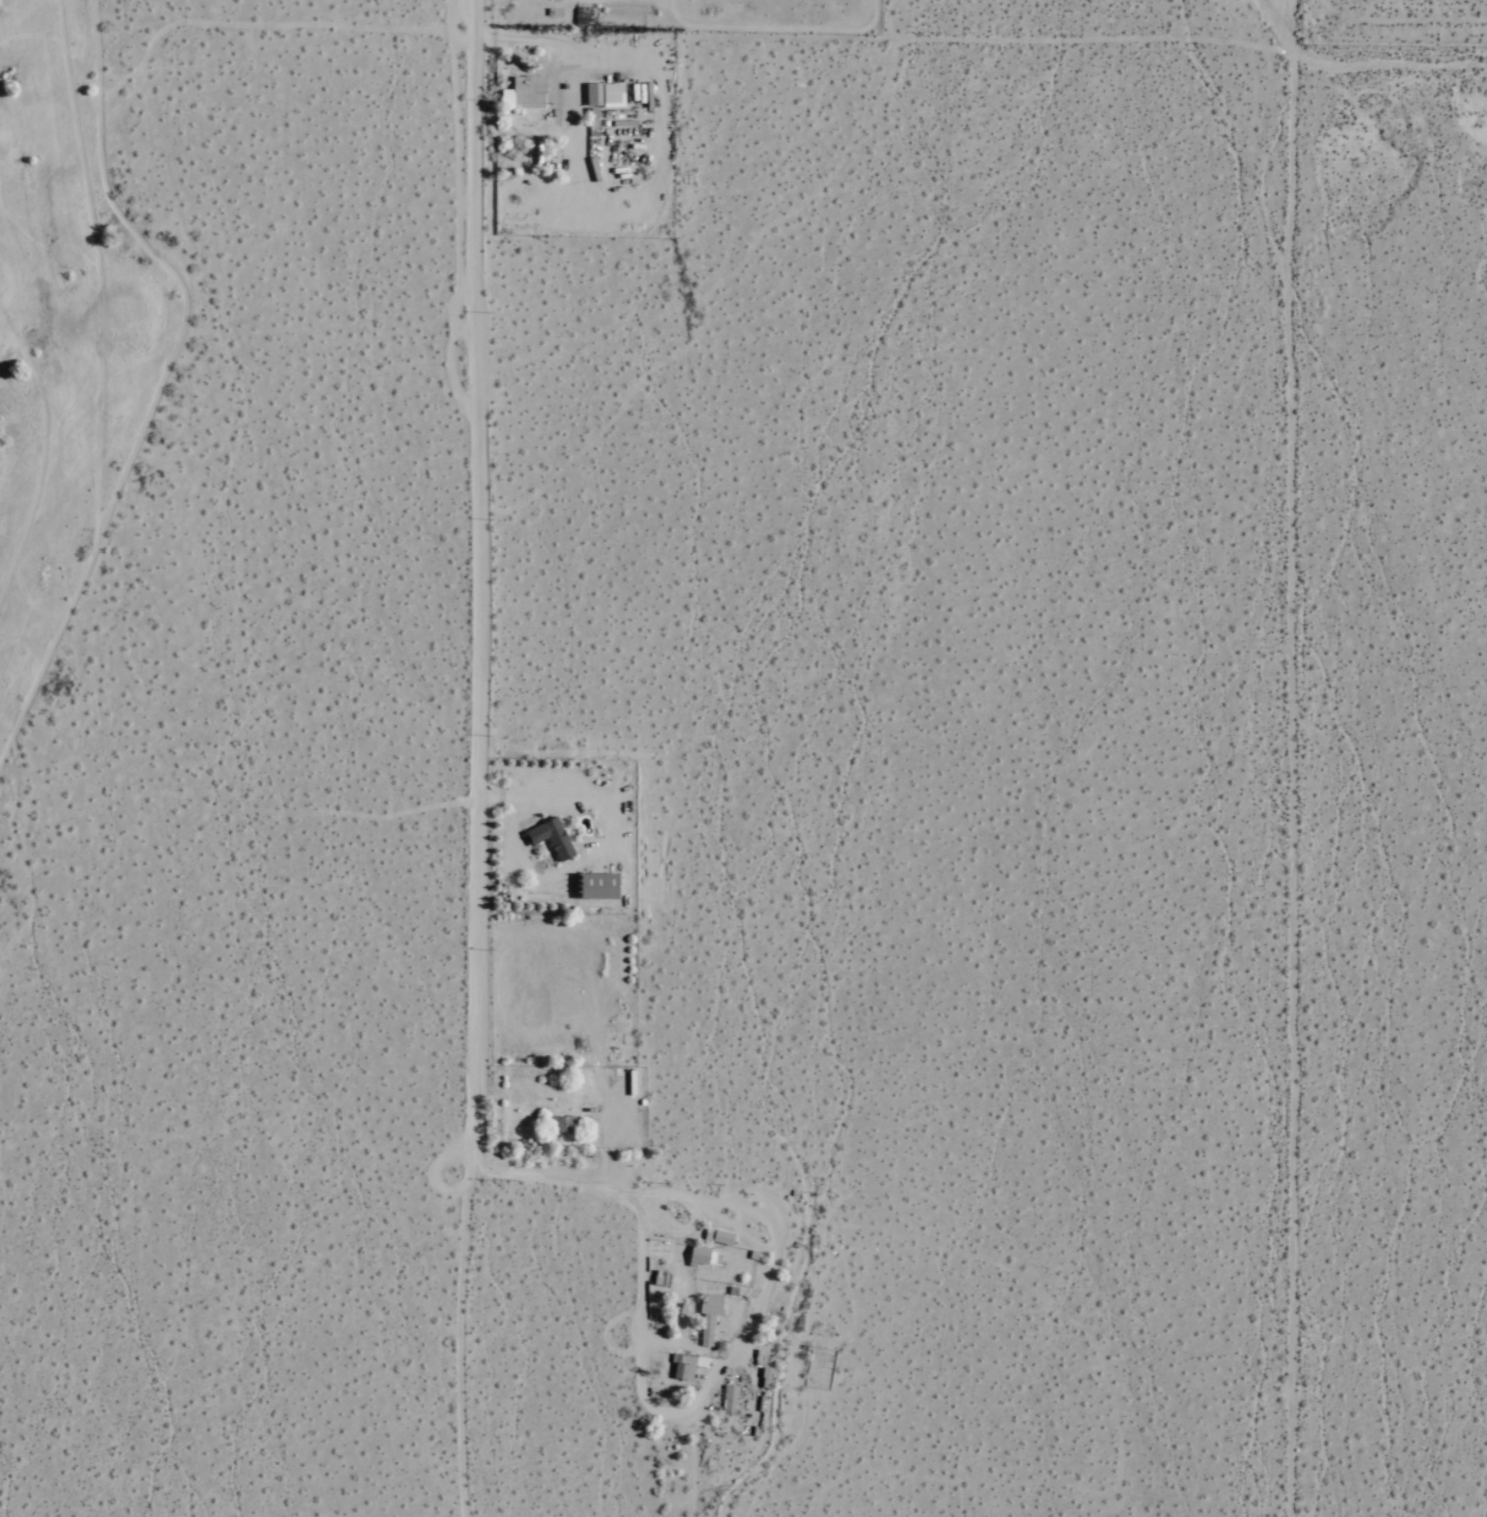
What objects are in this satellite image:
road: (1481, 26)
road: (972, 33)
road: (545, 41)
building: (605, 95)
road: (483, 758)
road: (1296, 758)
building: (552, 837)
road: (588, 853)
building: (600, 886)
road: (629, 1188)
building: (723, 1237)
building: (704, 1256)
building: (709, 1316)
building: (687, 1366)
building: (729, 1398)

